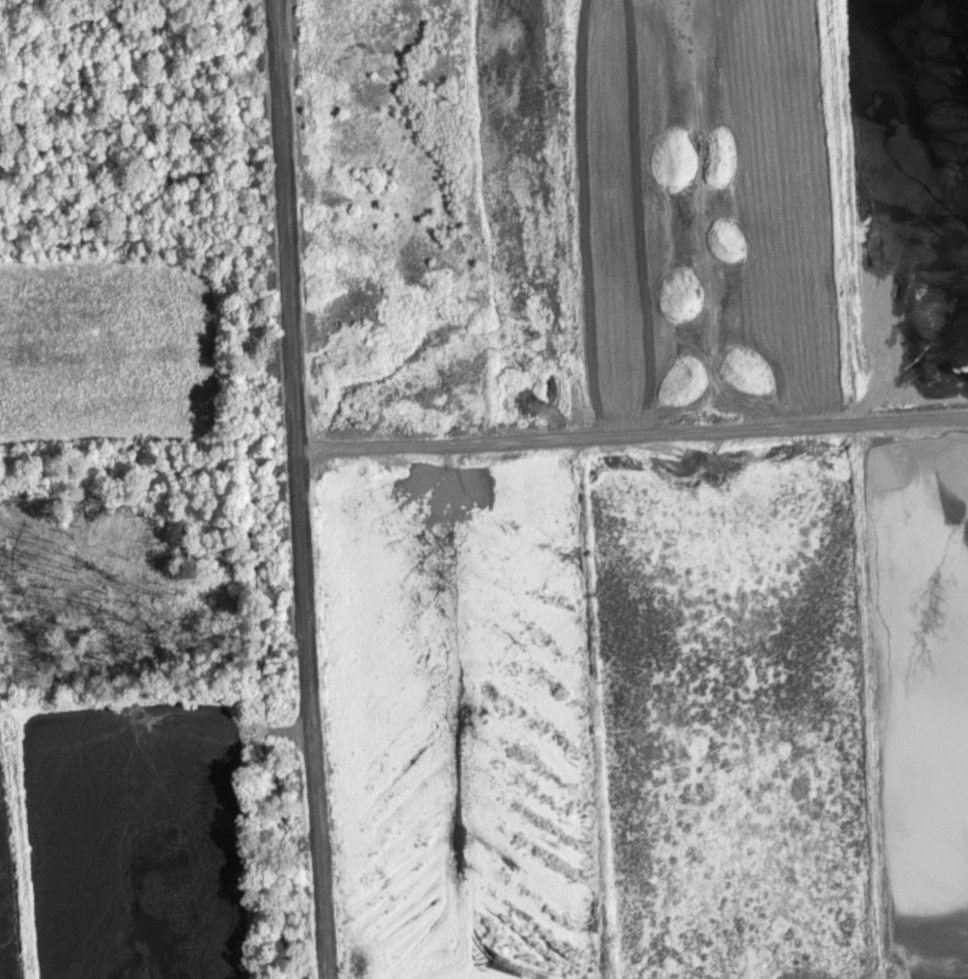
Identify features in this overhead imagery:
road: (631, 434)
road: (297, 489)

